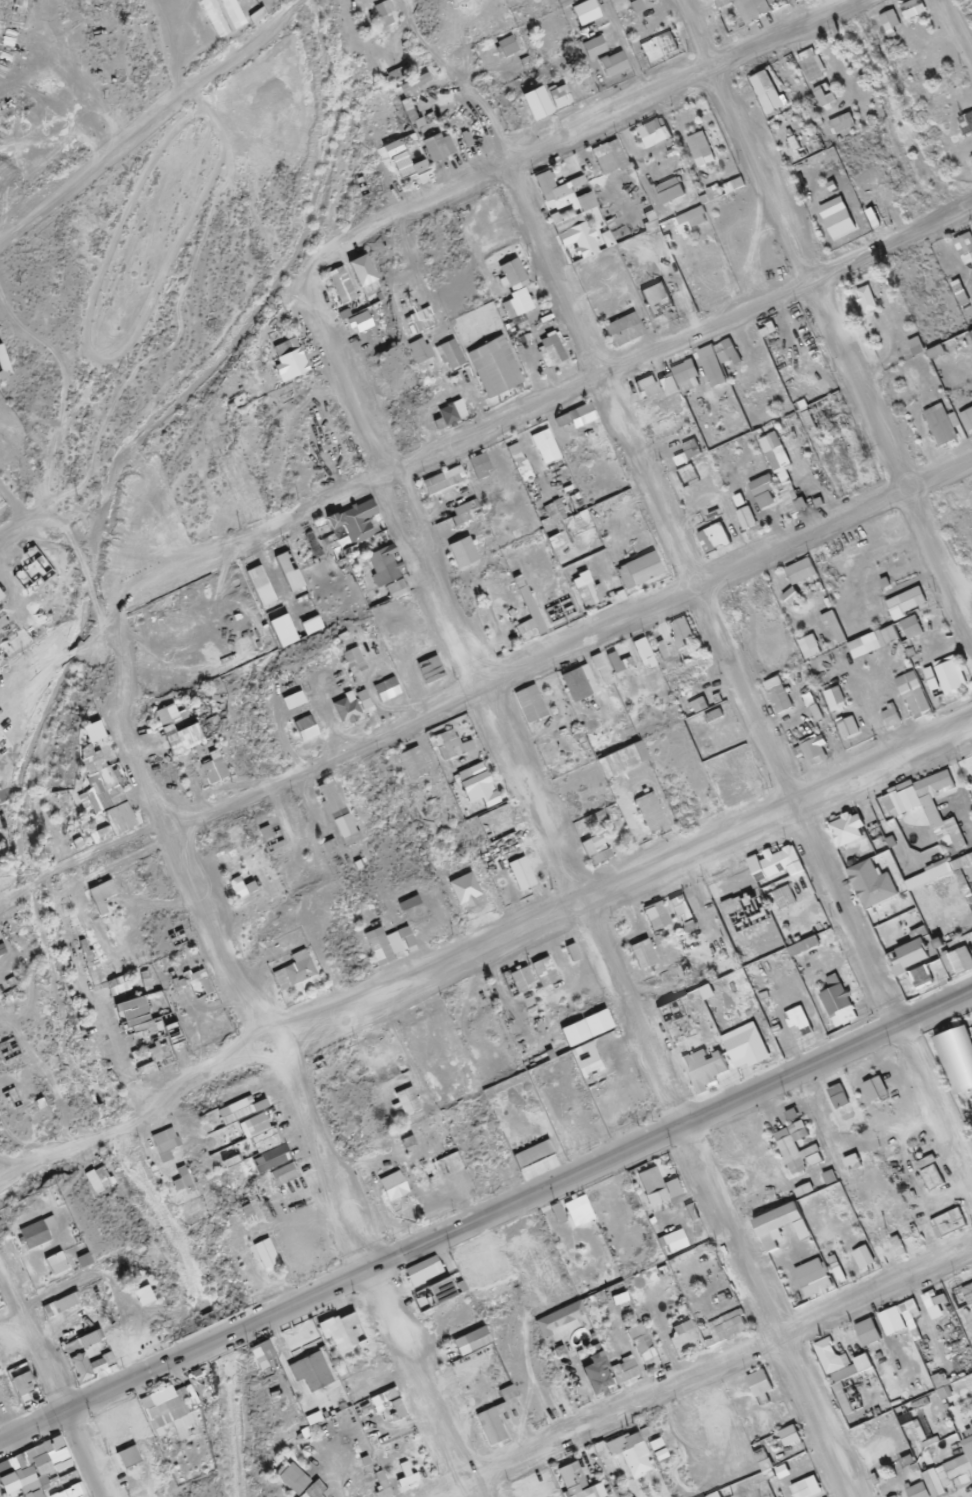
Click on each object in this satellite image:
road: (680, 79)

